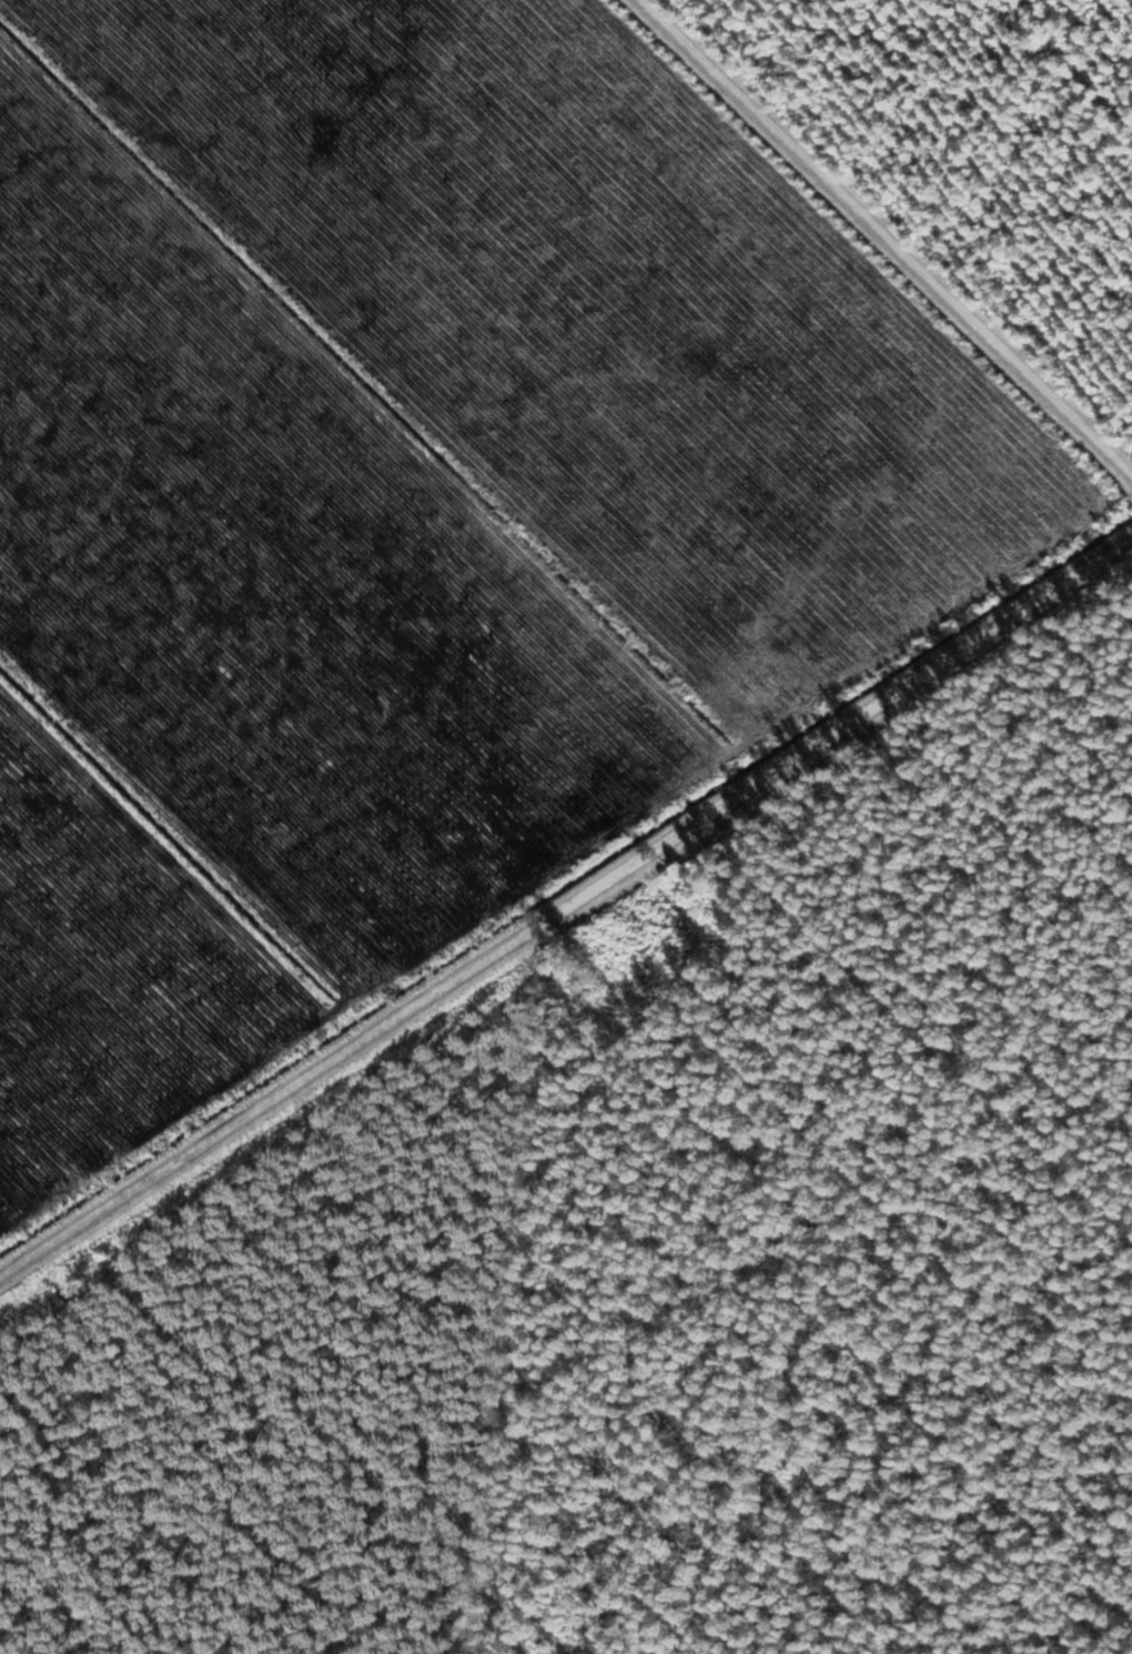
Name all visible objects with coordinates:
road: (882, 239)
road: (564, 910)

